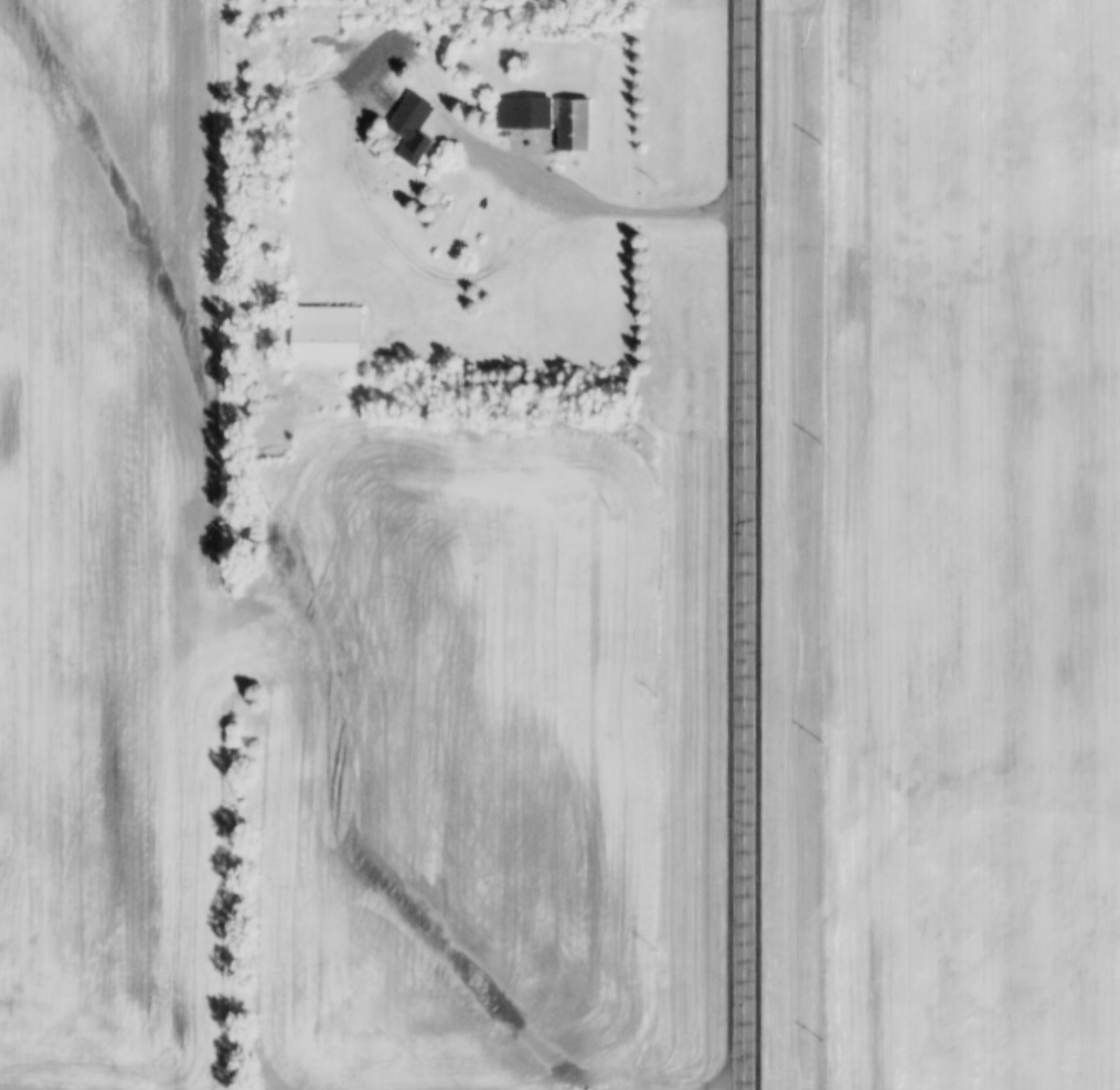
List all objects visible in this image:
building: (524, 113)
building: (574, 126)
building: (413, 129)
road: (573, 203)
building: (327, 333)
road: (740, 545)

